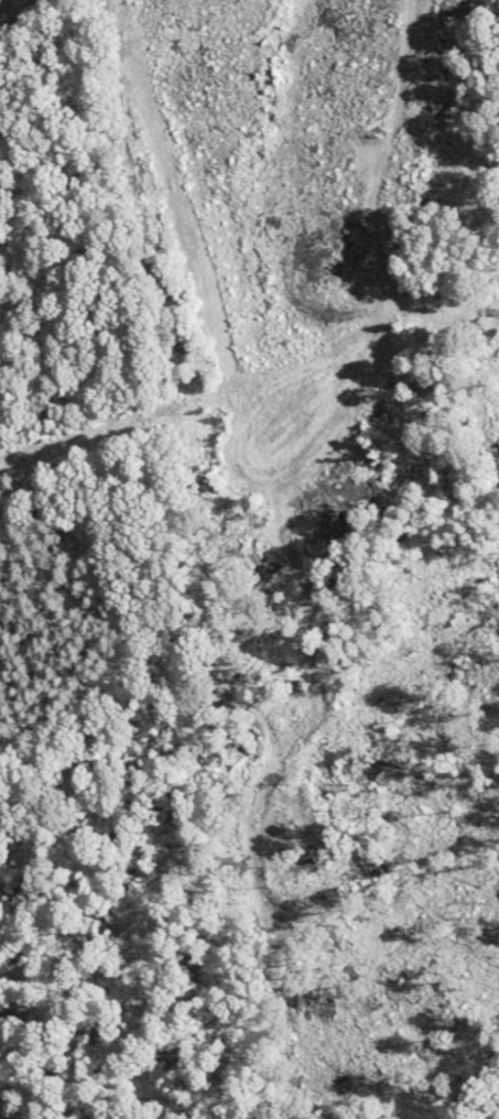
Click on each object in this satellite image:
road: (9, 8)

